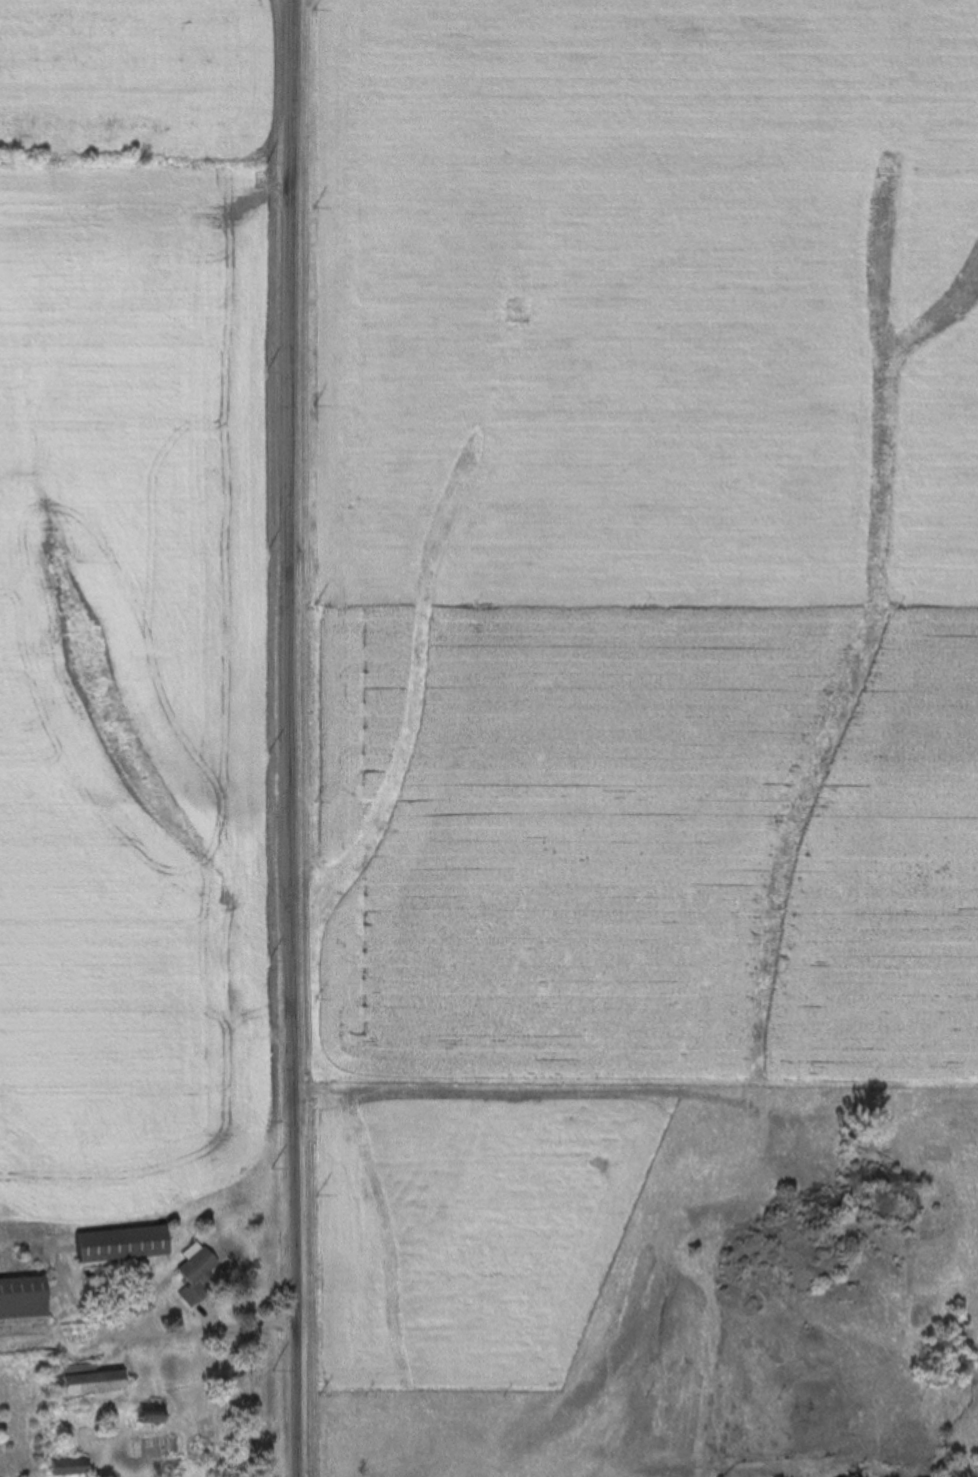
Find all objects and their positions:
road: (291, 738)
road: (522, 1091)
building: (115, 1244)
building: (188, 1273)
building: (21, 1302)
road: (188, 1333)
building: (79, 1384)
building: (141, 1416)
building: (64, 1468)

